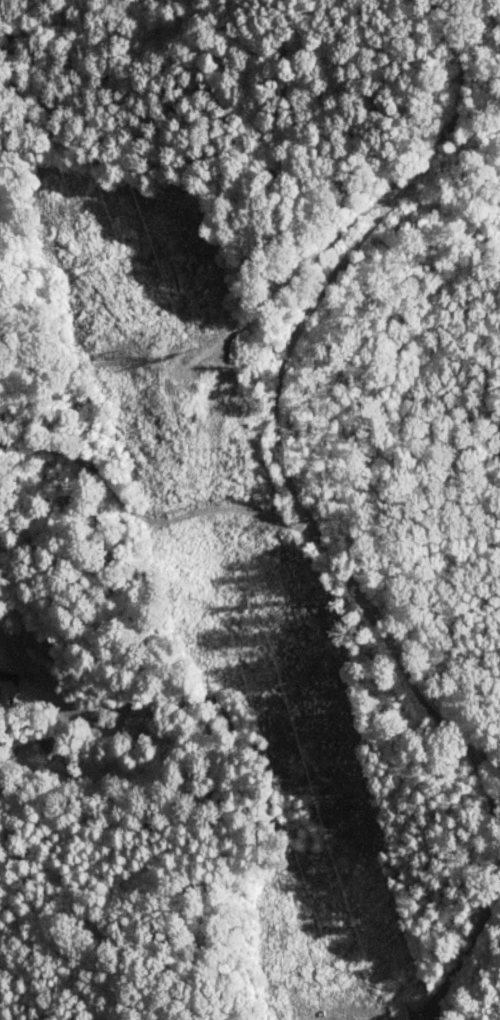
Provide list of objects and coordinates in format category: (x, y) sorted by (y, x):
building: (10, 685)

